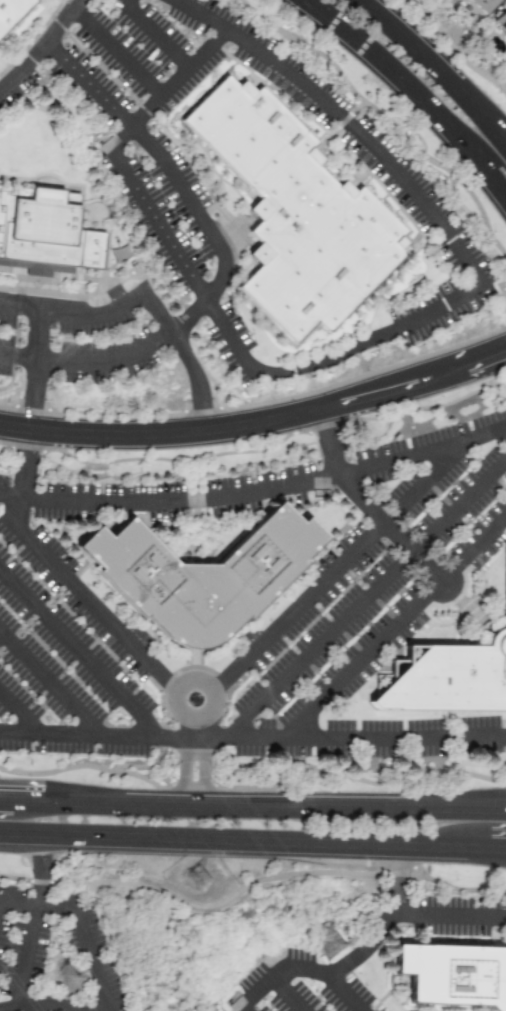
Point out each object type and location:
building: (484, 5)
building: (13, 14)
building: (501, 24)
road: (156, 35)
road: (41, 47)
road: (116, 51)
road: (439, 66)
road: (397, 80)
road: (167, 89)
road: (343, 119)
road: (162, 159)
road: (496, 186)
building: (301, 213)
building: (49, 231)
road: (182, 265)
road: (72, 314)
road: (377, 338)
road: (187, 357)
road: (111, 359)
road: (36, 371)
road: (258, 426)
road: (27, 465)
building: (504, 478)
road: (256, 490)
road: (367, 504)
building: (200, 570)
road: (333, 571)
road: (365, 592)
road: (84, 598)
road: (394, 627)
road: (79, 653)
building: (449, 674)
road: (47, 684)
road: (210, 698)
road: (19, 714)
road: (193, 728)
road: (252, 738)
road: (203, 763)
road: (183, 764)
road: (252, 794)
road: (252, 854)
power tower: (202, 876)
road: (43, 877)
road: (451, 915)
road: (78, 922)
road: (404, 926)
road: (494, 929)
power tower: (334, 946)
road: (367, 950)
road: (25, 958)
road: (402, 960)
building: (454, 975)
power tower: (71, 977)
road: (401, 979)
road: (345, 993)
road: (256, 994)
road: (290, 994)
road: (386, 997)
road: (41, 1004)

